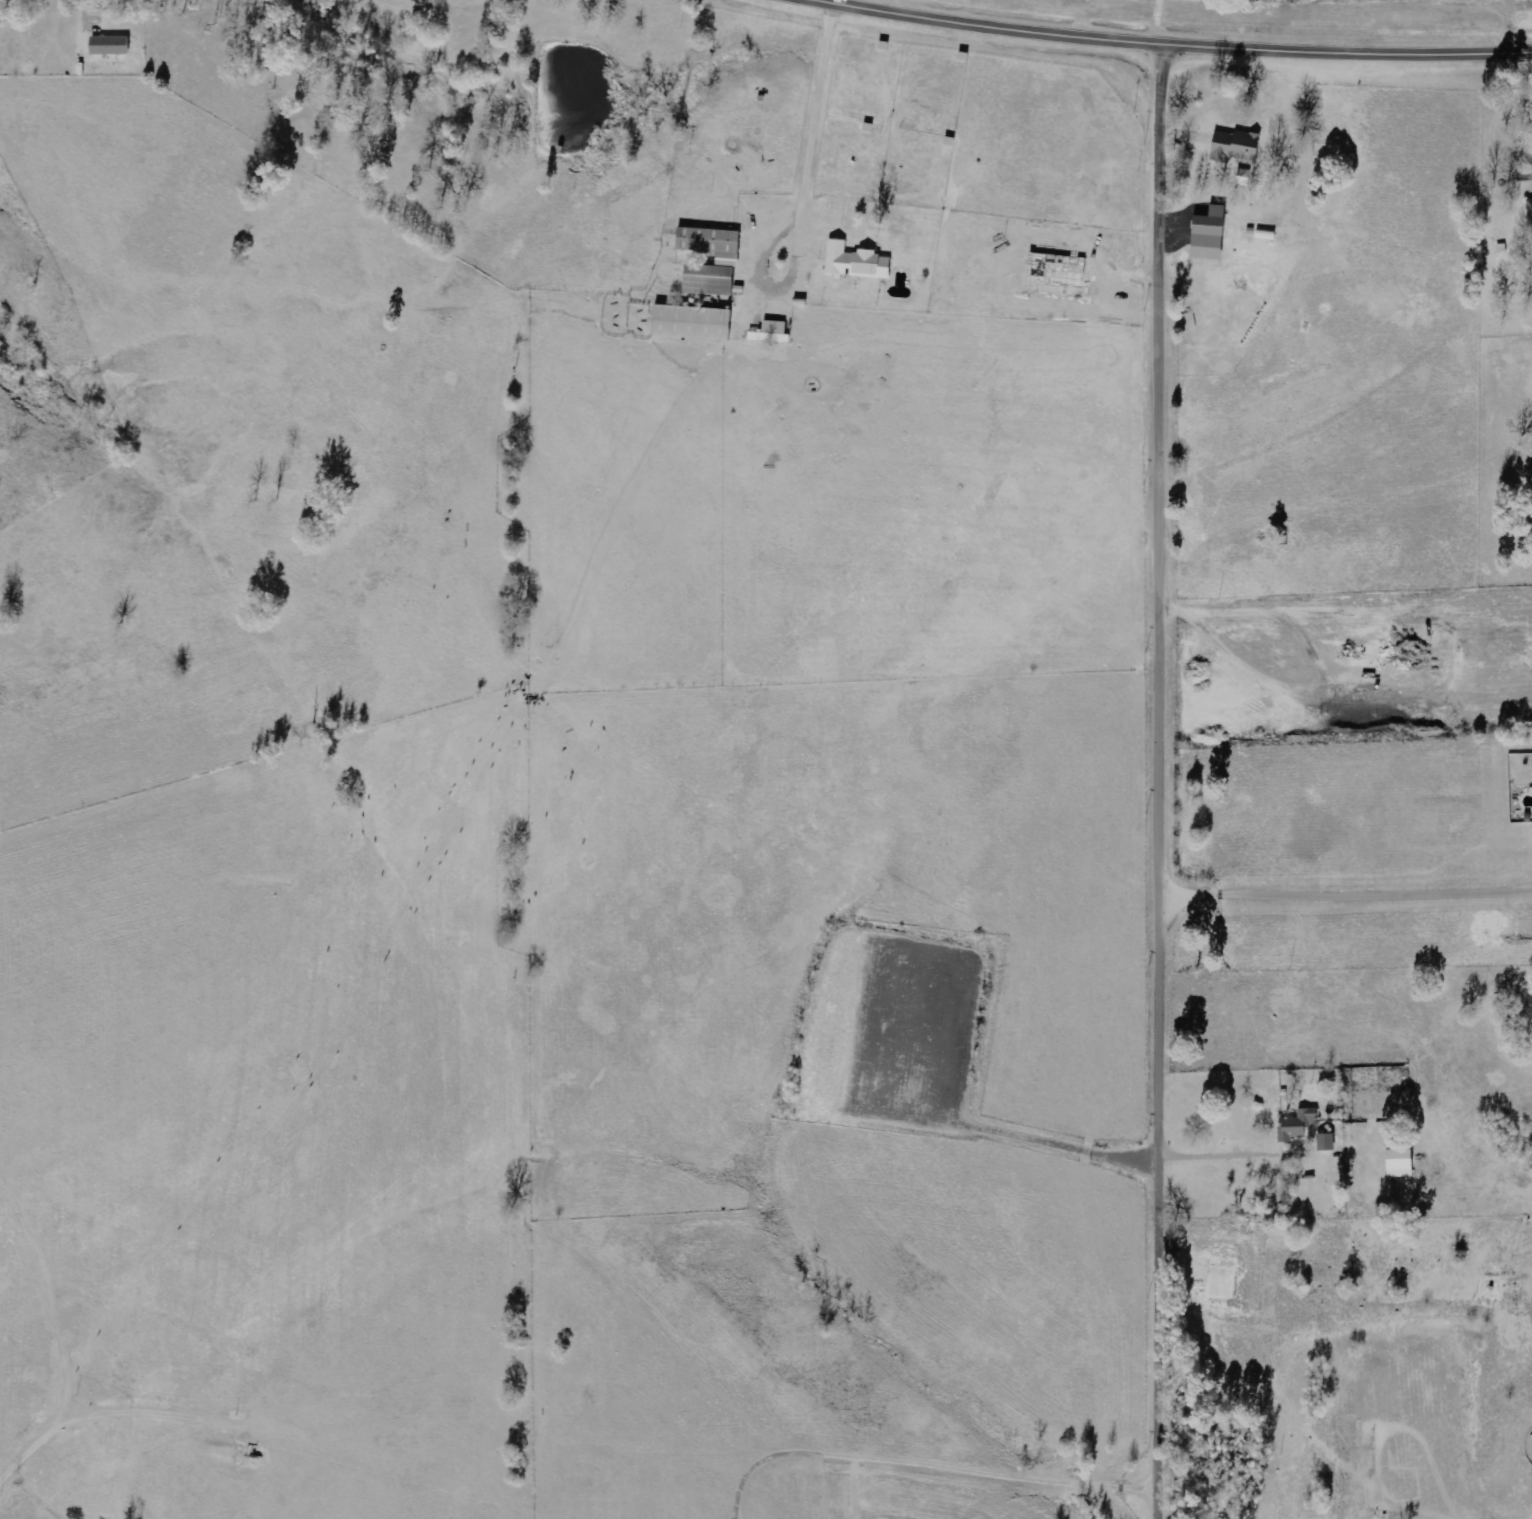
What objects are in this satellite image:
road: (1179, 19)
road: (1186, 39)
building: (111, 46)
building: (1237, 146)
road: (813, 154)
building: (1531, 204)
building: (1211, 235)
building: (729, 259)
building: (858, 263)
building: (1058, 275)
building: (694, 324)
building: (773, 334)
road: (1168, 467)
road: (1350, 895)
building: (1299, 1125)
building: (1328, 1142)
building: (1402, 1164)
road: (1166, 1207)
road: (898, 1496)

